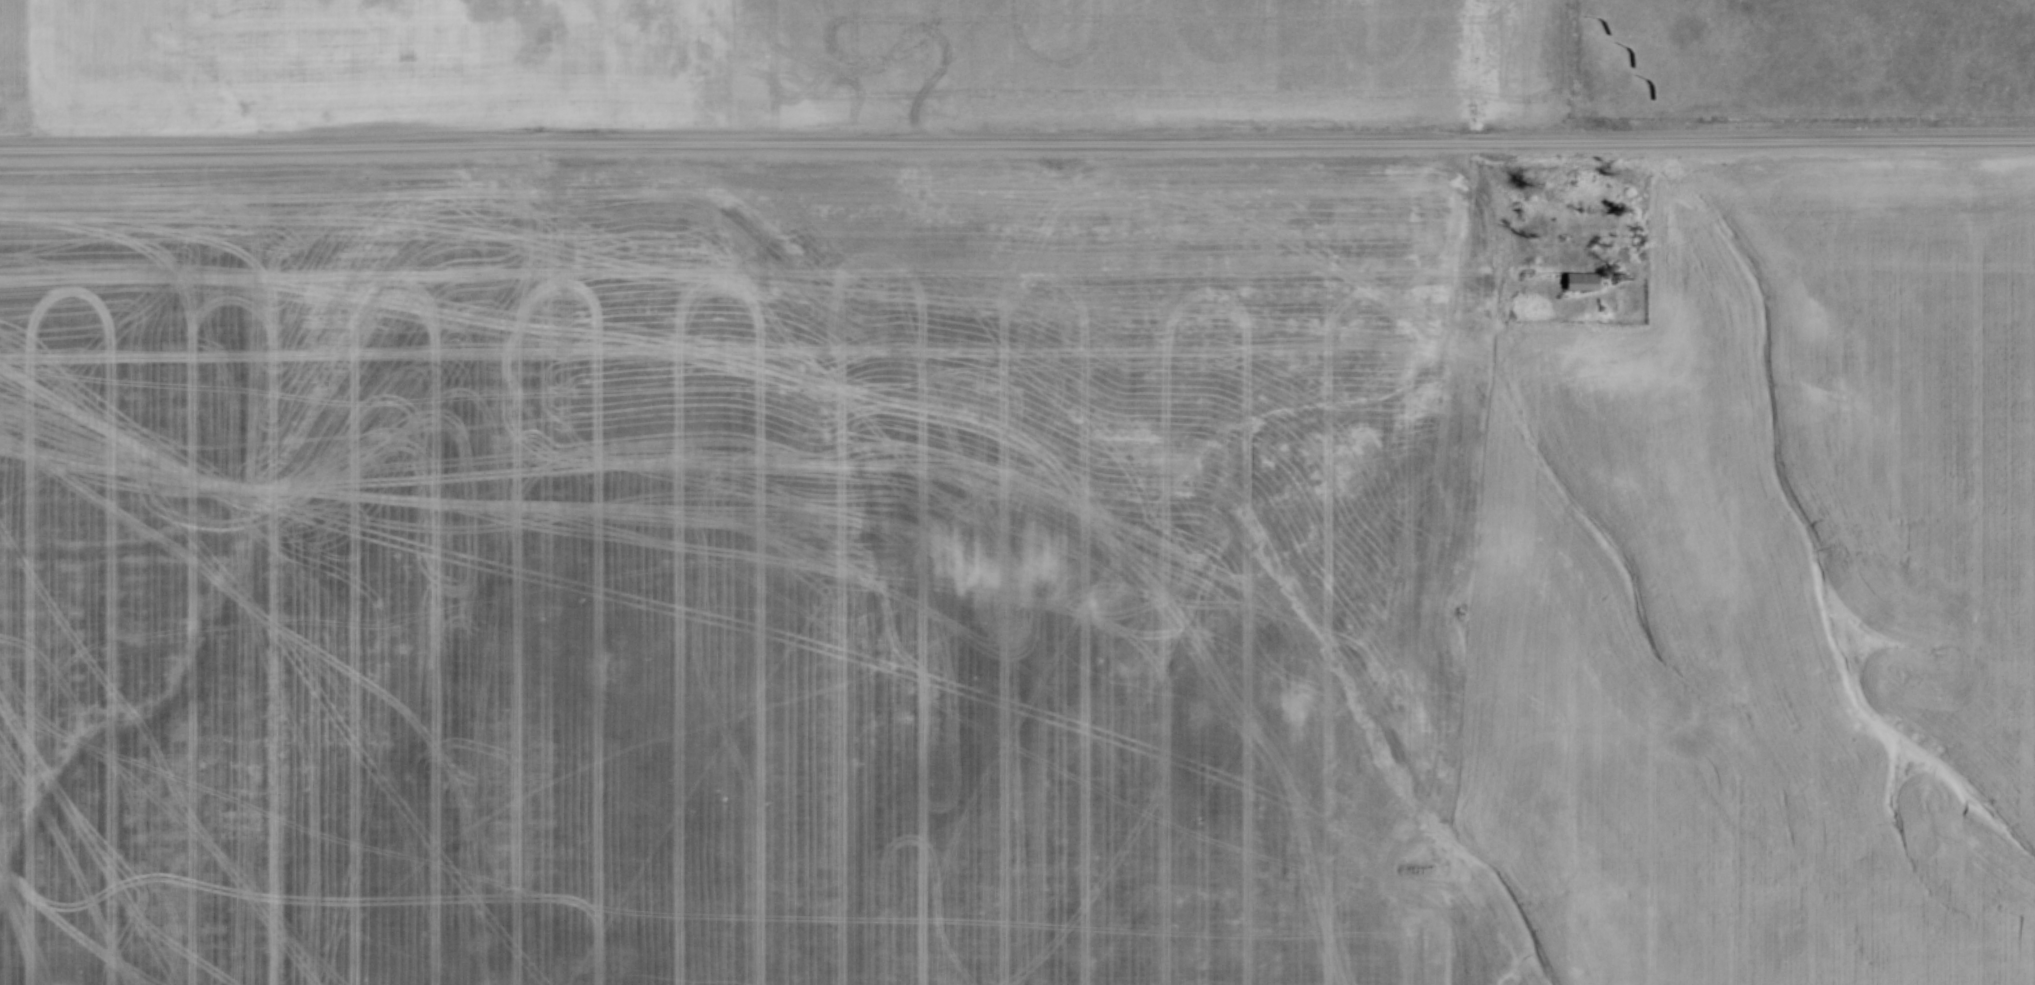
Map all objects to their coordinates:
crop: (774, 54)
road: (1017, 150)
building: (1571, 283)
crop: (1008, 579)

